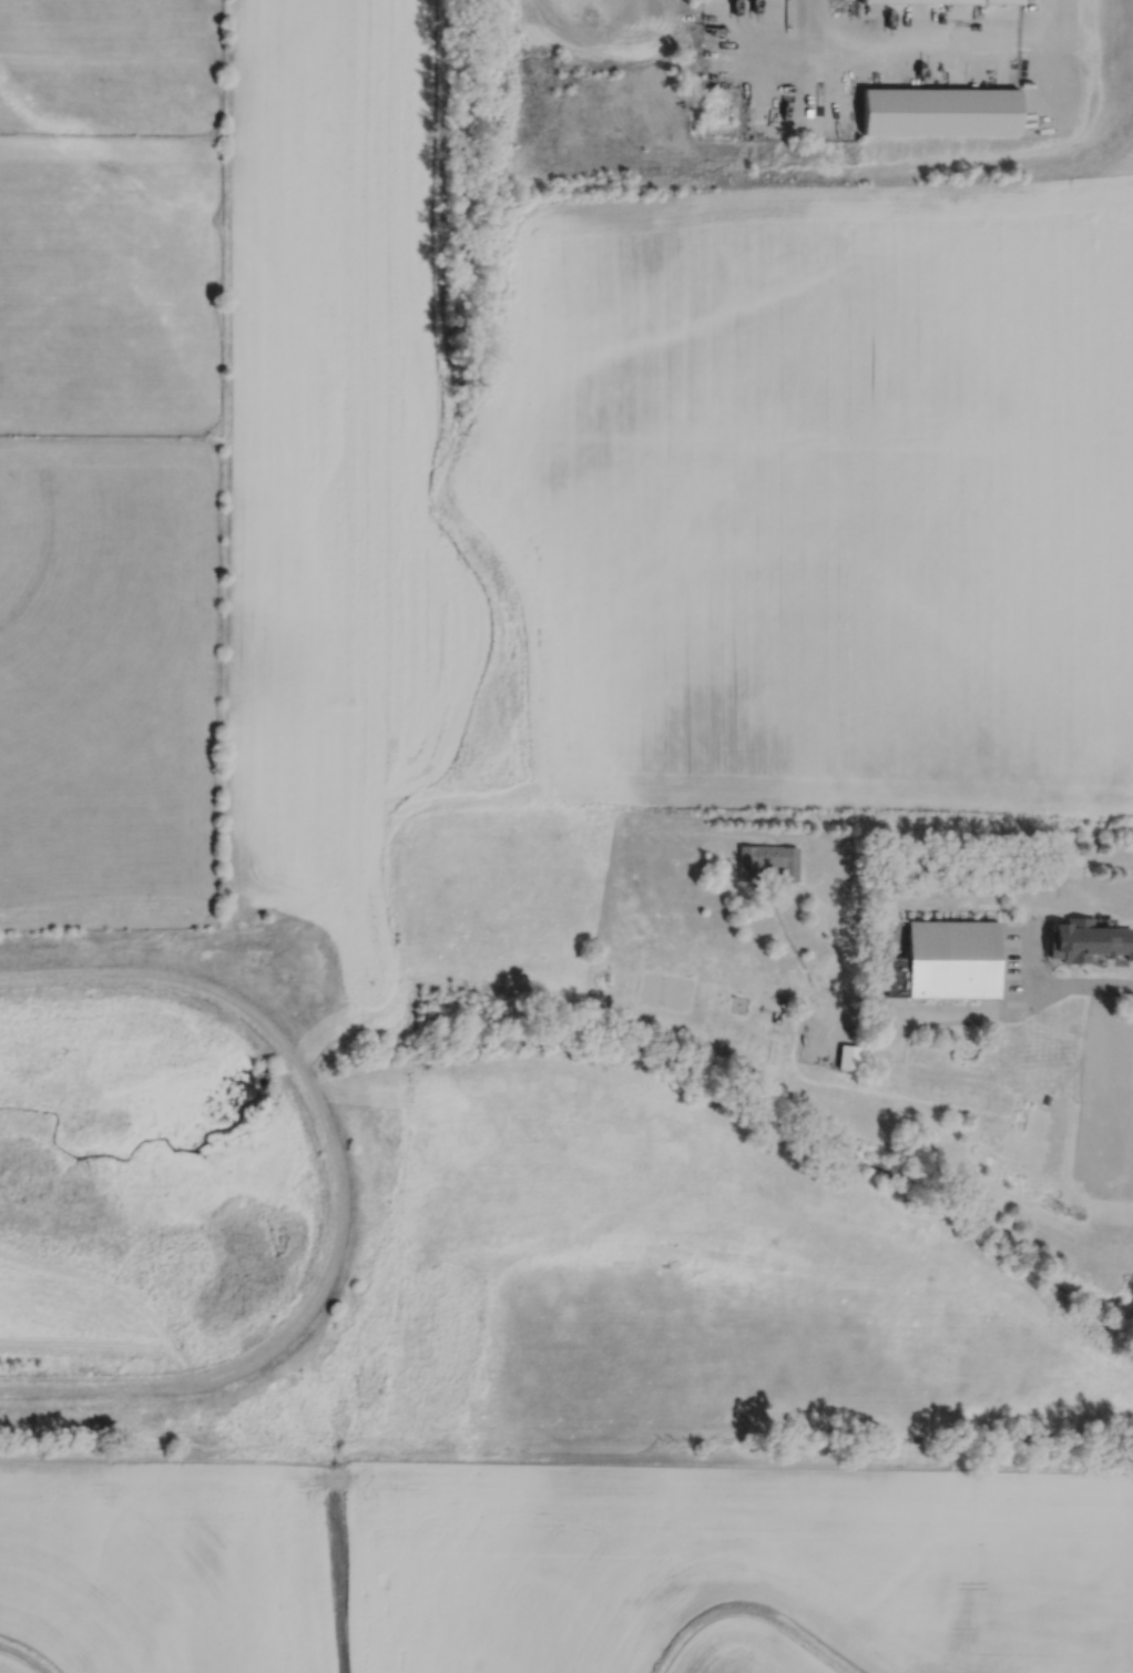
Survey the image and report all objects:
building: (943, 2)
road: (815, 21)
road: (878, 42)
road: (1045, 63)
road: (815, 90)
building: (946, 110)
building: (764, 863)
building: (1124, 904)
road: (1079, 985)
road: (1116, 1087)

